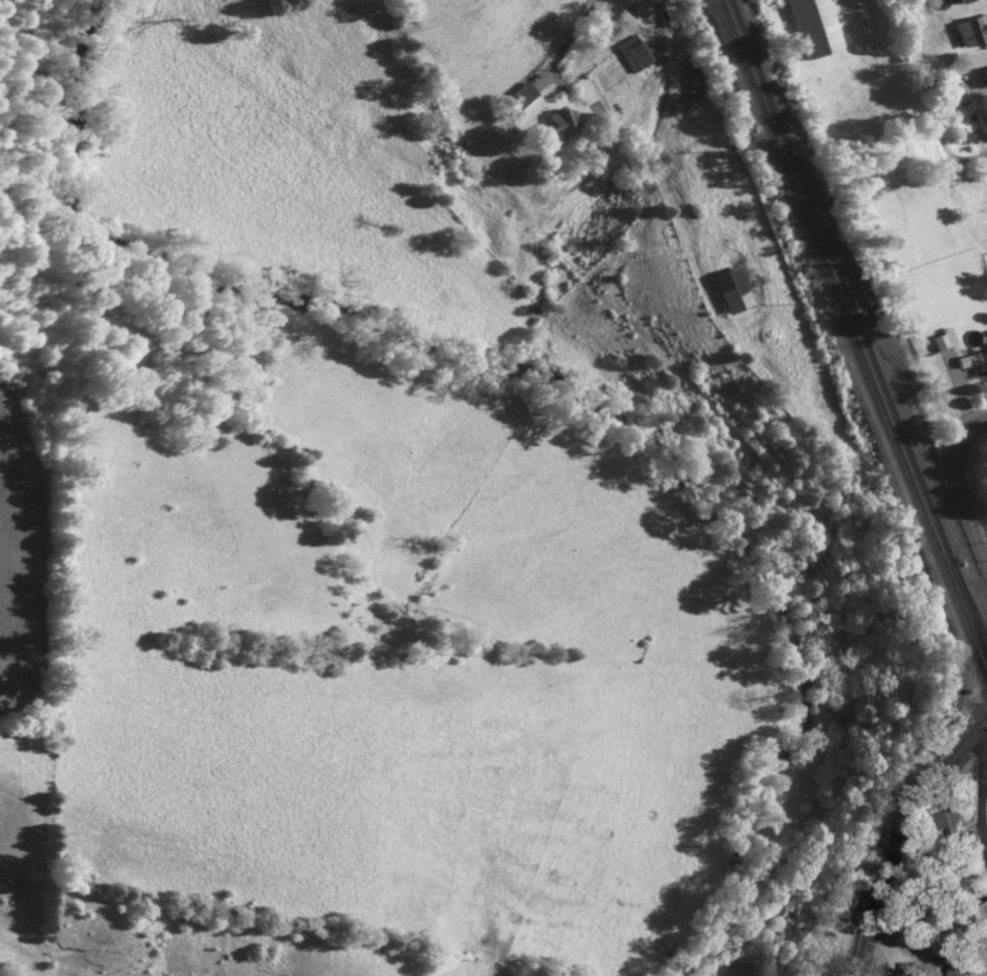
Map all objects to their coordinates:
building: (964, 1)
building: (613, 9)
building: (643, 9)
building: (670, 14)
building: (817, 27)
building: (971, 31)
building: (636, 53)
railway: (733, 54)
building: (985, 74)
building: (695, 83)
building: (522, 96)
building: (557, 125)
railway: (801, 192)
railway: (803, 220)
building: (732, 289)
building: (939, 340)
building: (973, 359)
road: (958, 489)
railway: (933, 517)
railway: (939, 557)
railway: (968, 597)
road: (983, 783)
building: (952, 822)
road: (909, 839)
building: (978, 916)
building: (955, 964)

